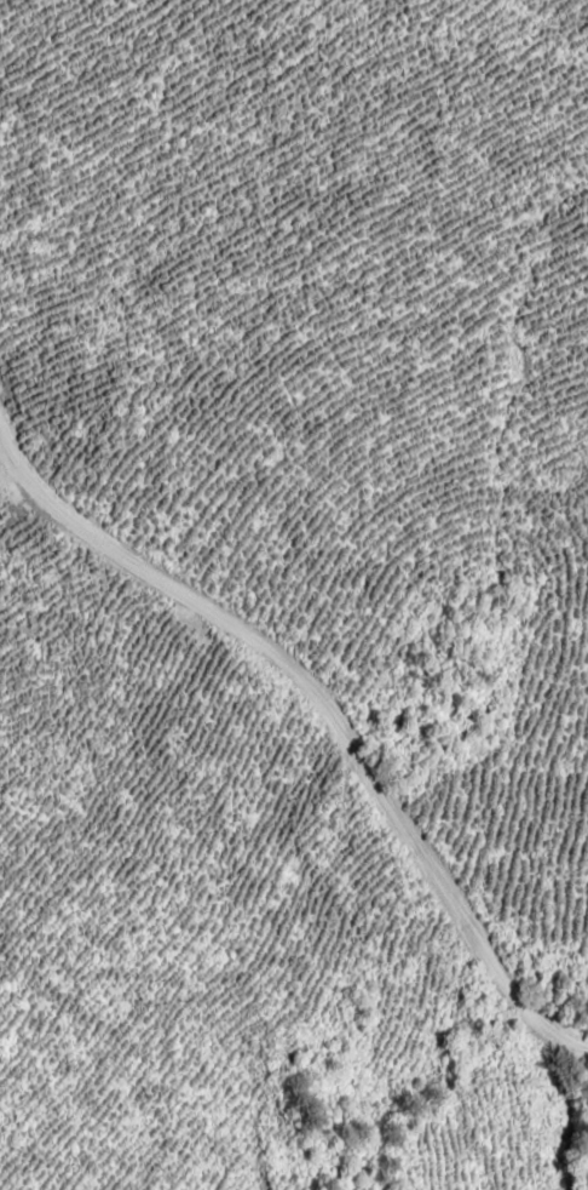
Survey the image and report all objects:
road: (321, 711)

